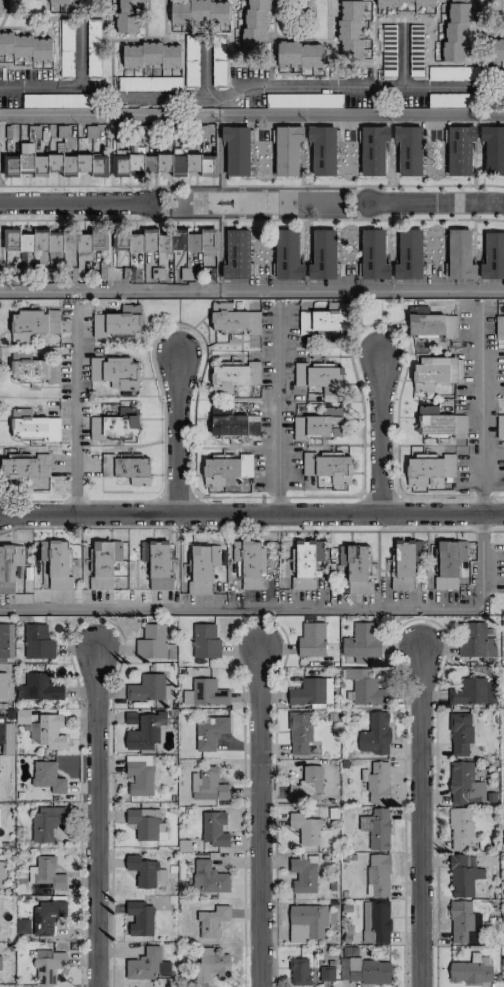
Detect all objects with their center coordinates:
building: (66, 1)
building: (406, 2)
building: (0, 6)
building: (198, 11)
building: (126, 16)
building: (255, 25)
building: (350, 29)
building: (455, 32)
building: (24, 46)
building: (66, 47)
road: (79, 53)
building: (298, 54)
building: (150, 55)
road: (403, 57)
road: (204, 71)
building: (453, 73)
building: (149, 83)
road: (249, 85)
building: (304, 100)
building: (452, 100)
road: (102, 114)
road: (369, 115)
building: (236, 149)
building: (322, 149)
building: (373, 149)
building: (493, 149)
building: (287, 150)
building: (408, 150)
building: (459, 150)
building: (121, 162)
building: (41, 163)
building: (84, 163)
building: (98, 164)
building: (168, 164)
road: (73, 202)
road: (434, 202)
building: (151, 241)
building: (48, 242)
building: (202, 242)
building: (21, 247)
building: (82, 251)
building: (236, 254)
building: (287, 254)
building: (373, 254)
building: (322, 255)
building: (409, 255)
building: (460, 255)
building: (493, 257)
building: (162, 265)
road: (362, 289)
road: (110, 290)
building: (324, 318)
building: (236, 321)
building: (117, 322)
building: (33, 324)
building: (430, 324)
building: (499, 326)
building: (31, 368)
building: (114, 371)
building: (434, 372)
building: (233, 376)
building: (319, 378)
road: (278, 407)
road: (480, 408)
road: (75, 412)
building: (433, 421)
building: (232, 423)
building: (115, 424)
building: (318, 424)
building: (500, 424)
building: (33, 425)
building: (459, 426)
road: (175, 427)
road: (379, 430)
building: (24, 465)
building: (328, 467)
building: (126, 468)
building: (428, 468)
road: (251, 510)
road: (251, 530)
building: (318, 550)
building: (117, 551)
building: (56, 563)
building: (156, 563)
building: (250, 563)
building: (449, 563)
building: (403, 565)
building: (9, 566)
building: (101, 566)
building: (202, 567)
building: (355, 568)
road: (288, 609)
building: (6, 640)
building: (311, 640)
building: (476, 640)
building: (205, 641)
building: (37, 642)
building: (362, 642)
building: (154, 643)
building: (3, 685)
building: (42, 687)
building: (148, 687)
building: (365, 687)
building: (208, 692)
building: (312, 692)
building: (473, 692)
building: (23, 718)
building: (142, 729)
building: (47, 731)
building: (209, 732)
building: (377, 733)
building: (460, 733)
building: (301, 734)
building: (139, 774)
building: (47, 776)
building: (377, 782)
building: (307, 784)
building: (464, 784)
building: (208, 785)
road: (261, 816)
road: (94, 818)
road: (417, 819)
building: (47, 822)
building: (146, 824)
building: (214, 828)
building: (460, 828)
building: (305, 829)
building: (379, 829)
building: (145, 871)
building: (42, 873)
building: (2, 874)
building: (303, 875)
building: (378, 875)
building: (462, 875)
building: (209, 878)
building: (47, 918)
building: (140, 919)
building: (212, 921)
building: (376, 921)
building: (308, 922)
building: (24, 925)
building: (0, 962)
building: (502, 963)
building: (211, 964)
building: (47, 965)
building: (147, 965)
building: (365, 970)
building: (471, 970)
building: (299, 971)
building: (325, 973)

